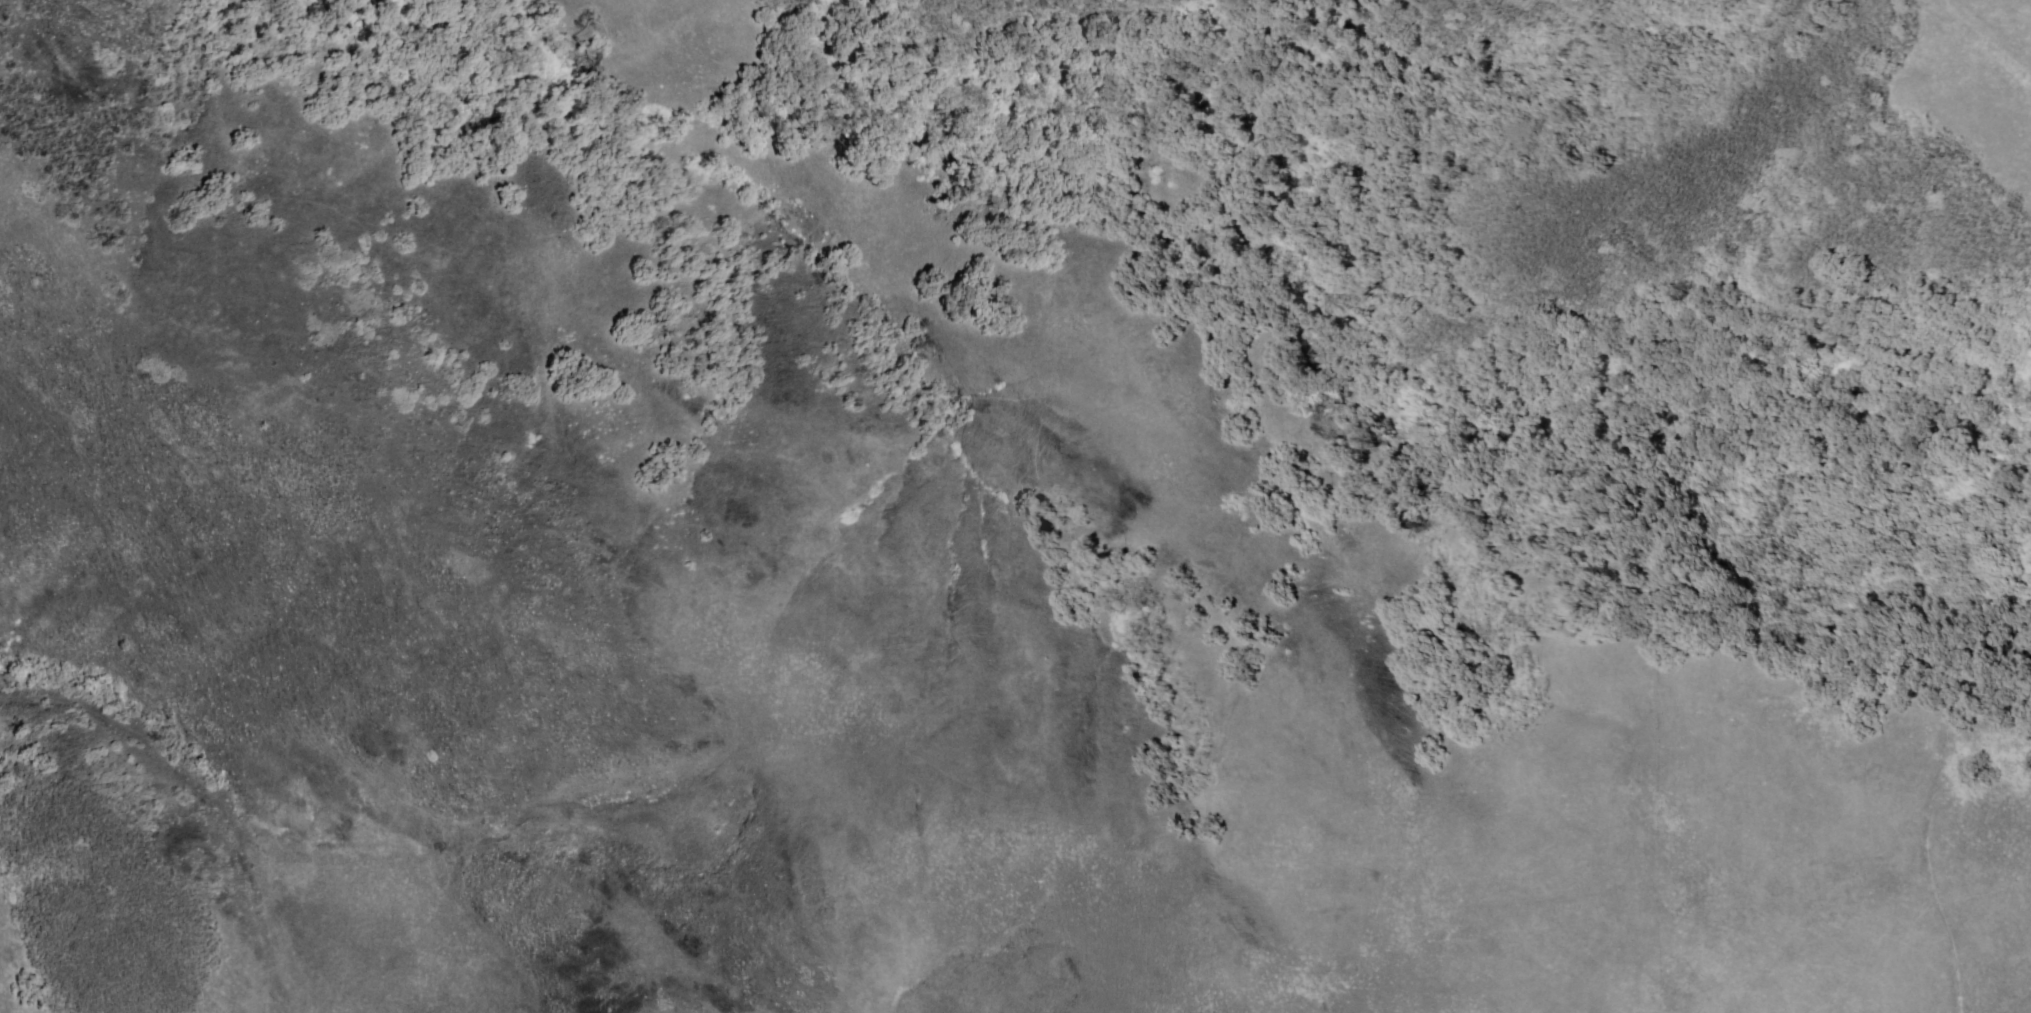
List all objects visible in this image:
road: (1985, 35)

